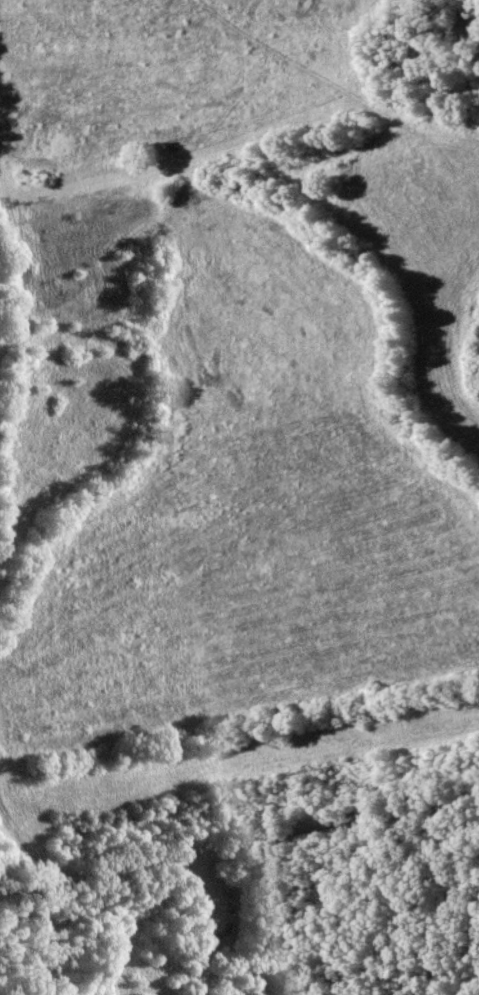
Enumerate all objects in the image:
road: (239, 843)
parking lot: (196, 870)

